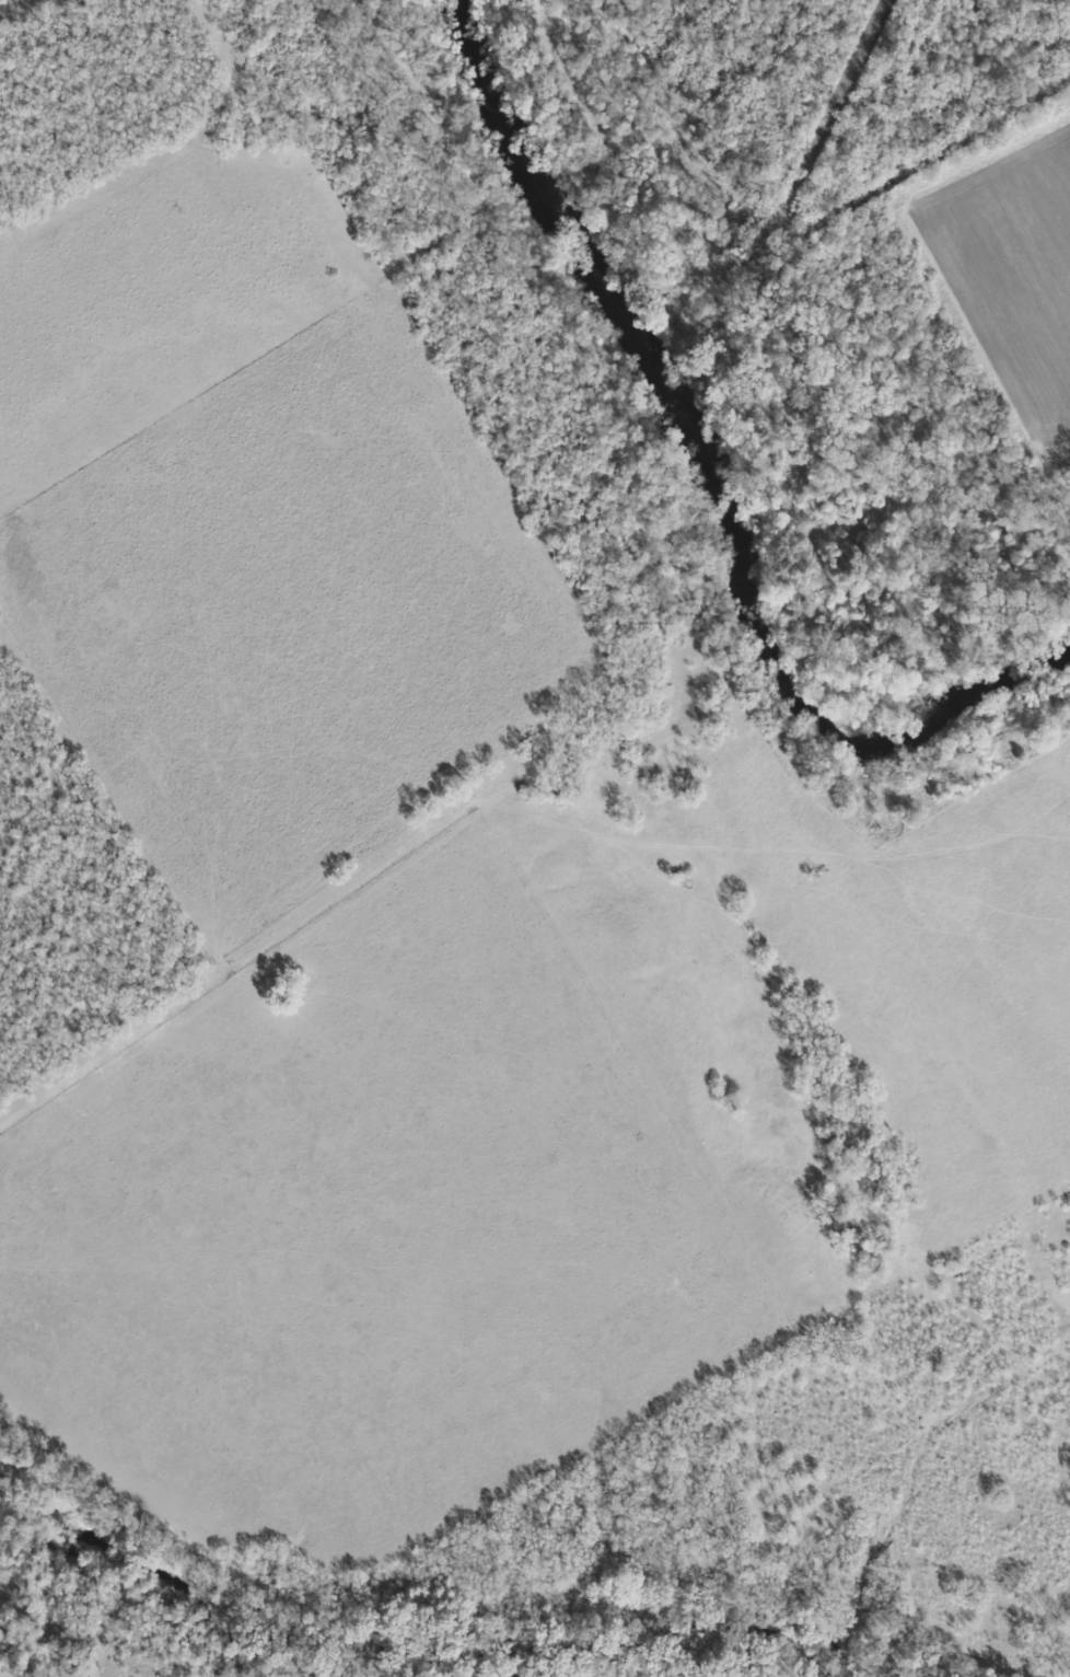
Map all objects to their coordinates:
river: (712, 475)

